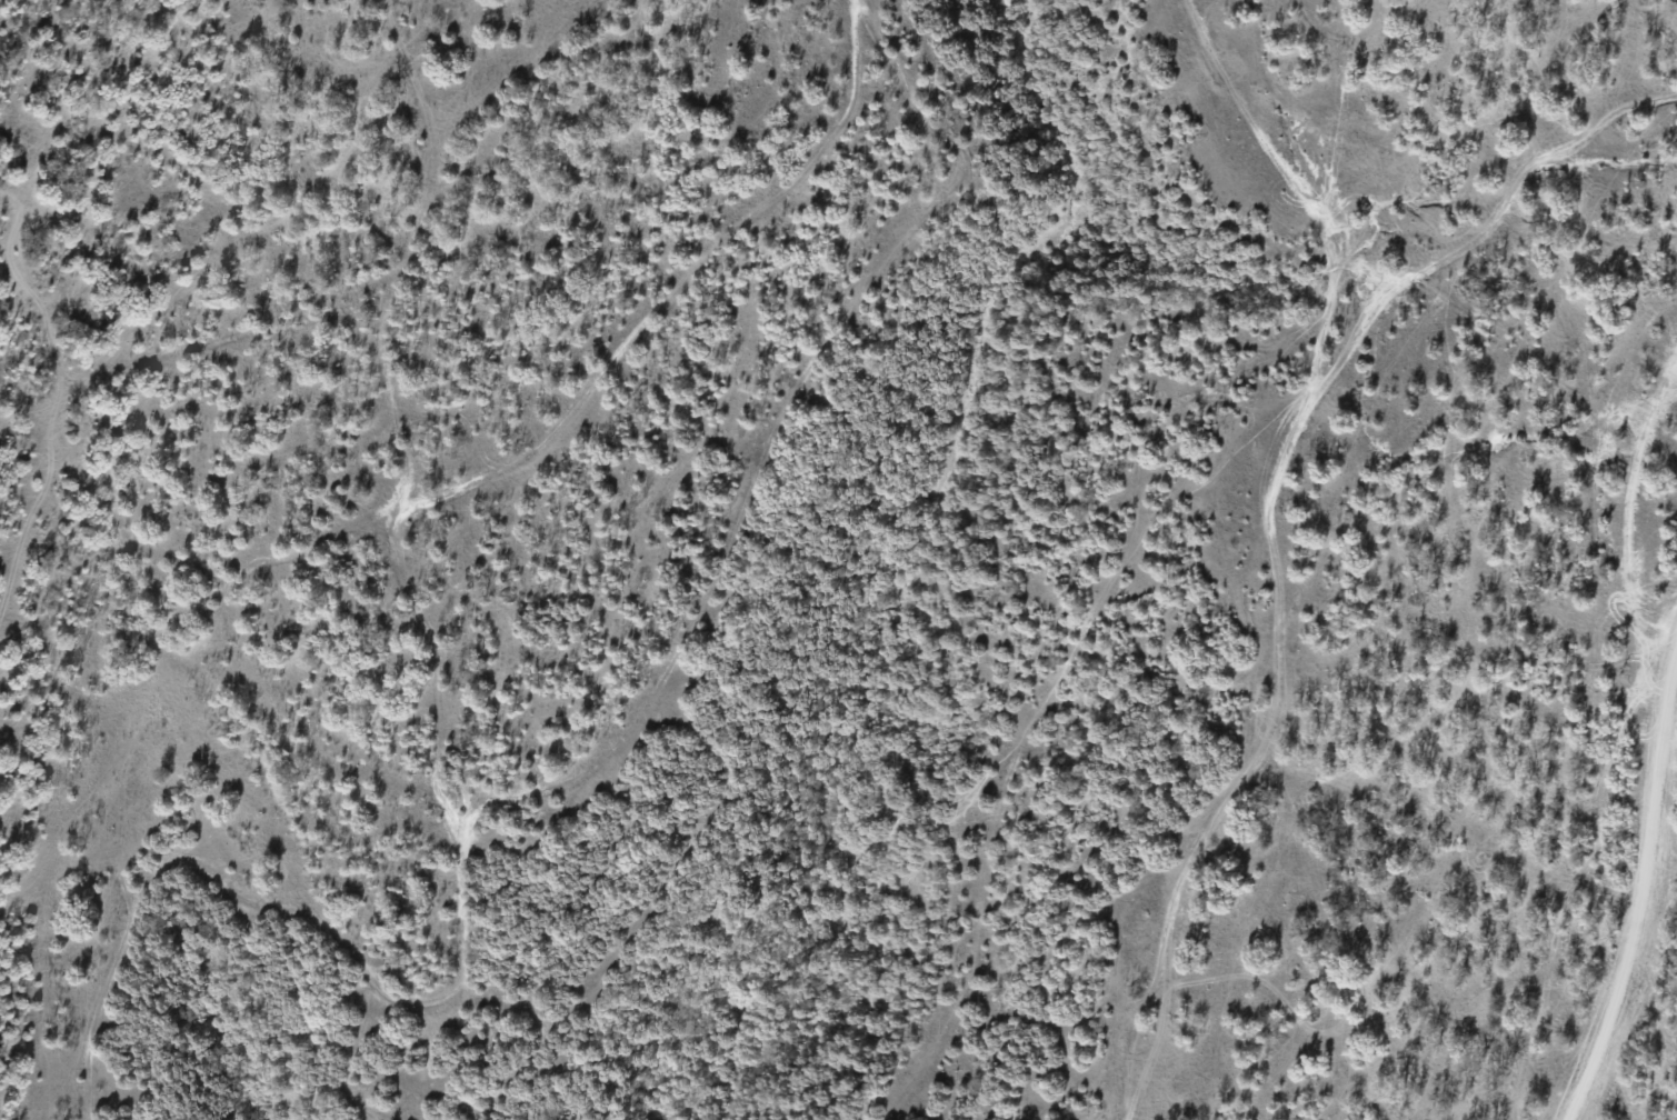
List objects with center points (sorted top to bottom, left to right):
road: (1640, 891)

